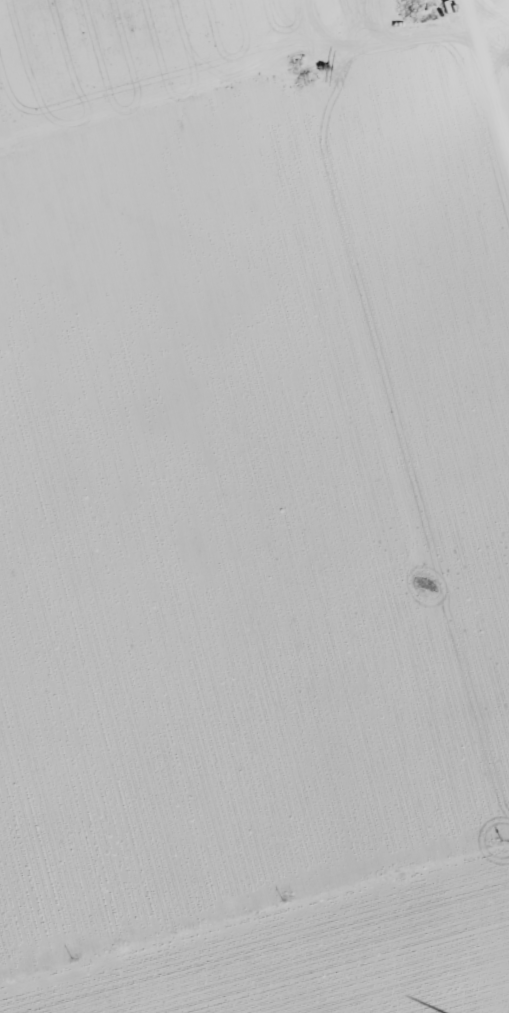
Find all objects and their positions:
road: (254, 622)

